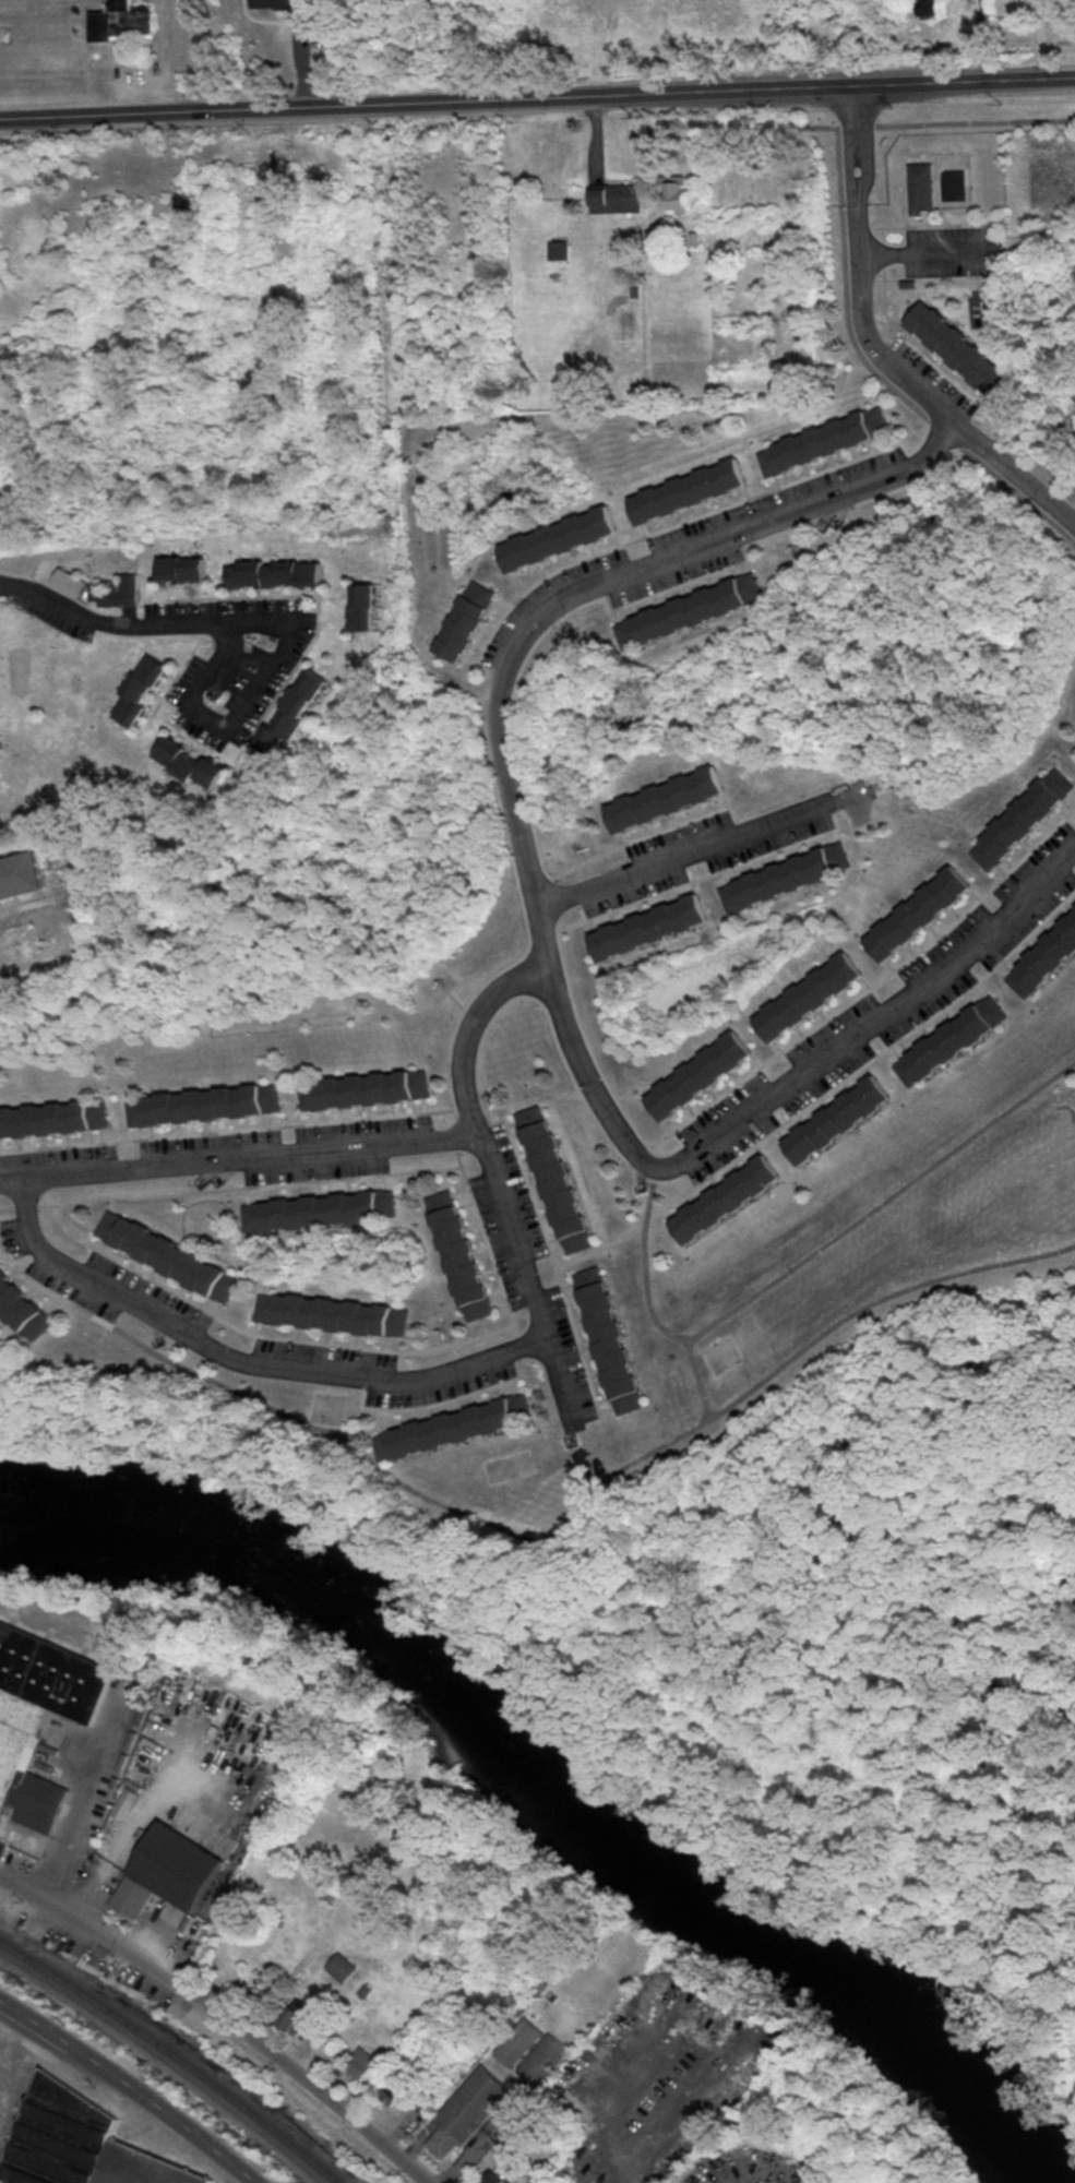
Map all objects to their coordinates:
building: (289, 5)
building: (929, 8)
building: (120, 20)
road: (1040, 36)
road: (167, 53)
road: (1055, 72)
road: (142, 77)
parking lot: (142, 79)
road: (142, 94)
road: (517, 94)
road: (975, 121)
road: (856, 126)
road: (901, 178)
building: (920, 186)
building: (677, 192)
building: (617, 196)
road: (927, 216)
road: (924, 225)
road: (882, 232)
building: (993, 243)
building: (559, 249)
road: (881, 253)
building: (994, 253)
road: (843, 263)
road: (863, 270)
road: (945, 276)
building: (905, 282)
building: (956, 346)
road: (918, 350)
road: (969, 421)
road: (945, 431)
building: (824, 440)
road: (1018, 469)
building: (688, 490)
road: (1018, 491)
building: (557, 537)
building: (182, 568)
building: (275, 572)
building: (71, 581)
road: (36, 582)
building: (108, 582)
building: (118, 591)
road: (89, 605)
building: (363, 606)
road: (116, 609)
building: (691, 610)
road: (561, 617)
building: (466, 619)
road: (114, 622)
road: (117, 624)
road: (153, 633)
road: (531, 633)
road: (309, 645)
park: (22, 671)
road: (176, 678)
building: (142, 689)
road: (200, 708)
building: (294, 711)
building: (191, 761)
building: (669, 798)
building: (1025, 818)
road: (1072, 820)
road: (523, 828)
road: (706, 845)
road: (512, 846)
road: (592, 863)
building: (21, 873)
building: (787, 875)
road: (598, 878)
road: (697, 879)
road: (553, 899)
building: (920, 911)
road: (32, 922)
building: (649, 926)
building: (1042, 955)
road: (865, 990)
building: (809, 995)
building: (946, 1039)
road: (583, 1040)
road: (839, 1049)
building: (694, 1074)
road: (475, 1076)
building: (360, 1088)
building: (200, 1102)
building: (53, 1117)
building: (831, 1119)
road: (447, 1143)
road: (629, 1154)
road: (237, 1157)
building: (550, 1178)
road: (491, 1181)
road: (243, 1184)
building: (717, 1198)
road: (24, 1206)
road: (7, 1207)
building: (312, 1209)
road: (481, 1241)
building: (454, 1254)
building: (166, 1255)
building: (24, 1308)
building: (331, 1314)
road: (99, 1316)
road: (261, 1333)
building: (608, 1338)
road: (516, 1339)
park: (722, 1353)
road: (246, 1360)
road: (370, 1368)
road: (435, 1403)
park: (336, 1407)
building: (458, 1425)
road: (640, 1459)
building: (40, 1714)
river: (558, 1780)
road: (80, 1799)
building: (2, 1846)
building: (133, 1895)
building: (341, 1966)
road: (224, 2013)
building: (294, 2018)
building: (521, 2041)
railway: (175, 2054)
building: (360, 2064)
road: (9, 2066)
road: (133, 2085)
building: (393, 2090)
building: (469, 2110)
building: (79, 2144)
building: (499, 2173)

